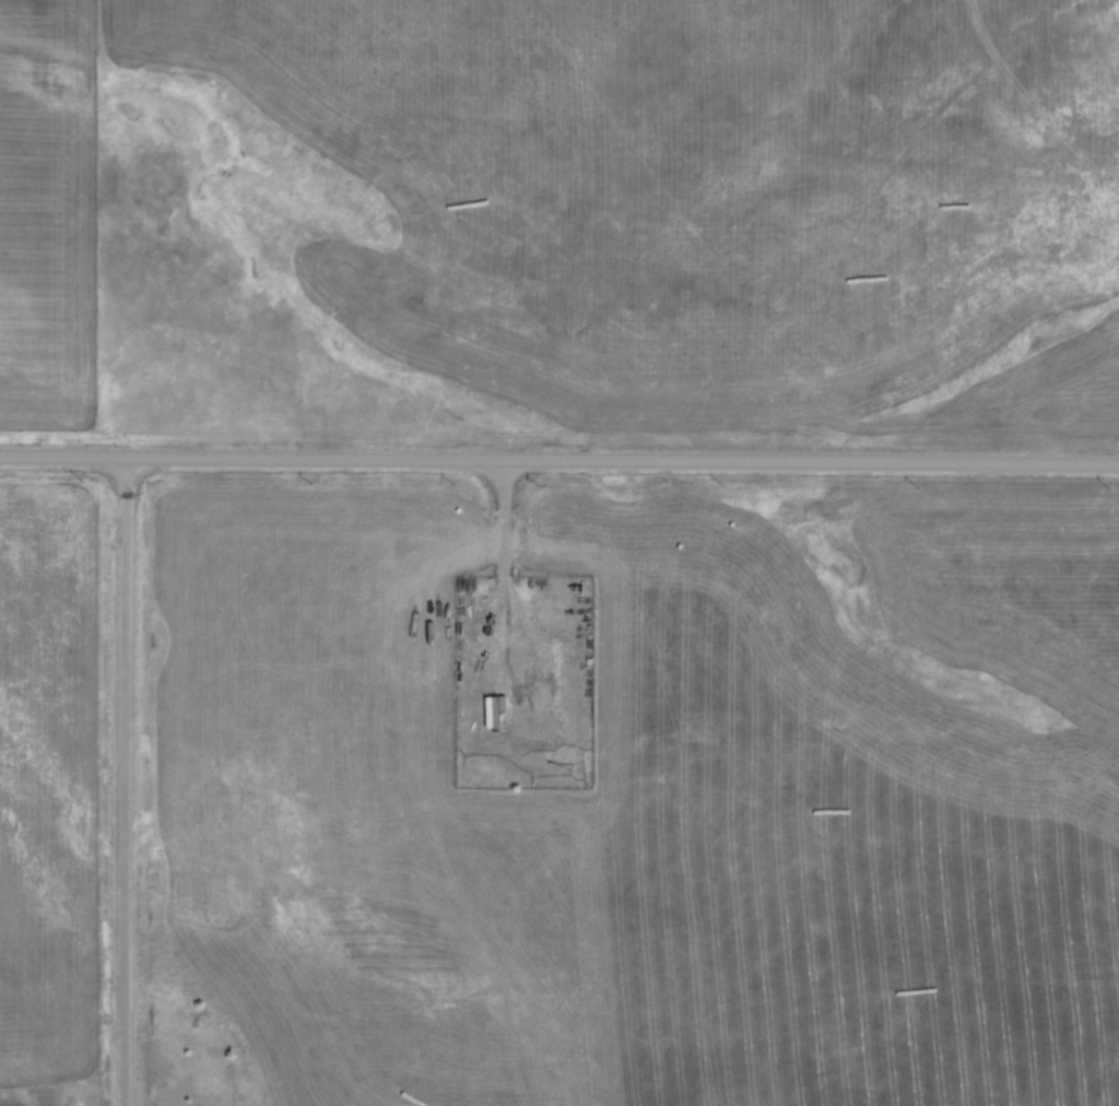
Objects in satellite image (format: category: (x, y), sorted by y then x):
road: (559, 457)
building: (490, 763)

